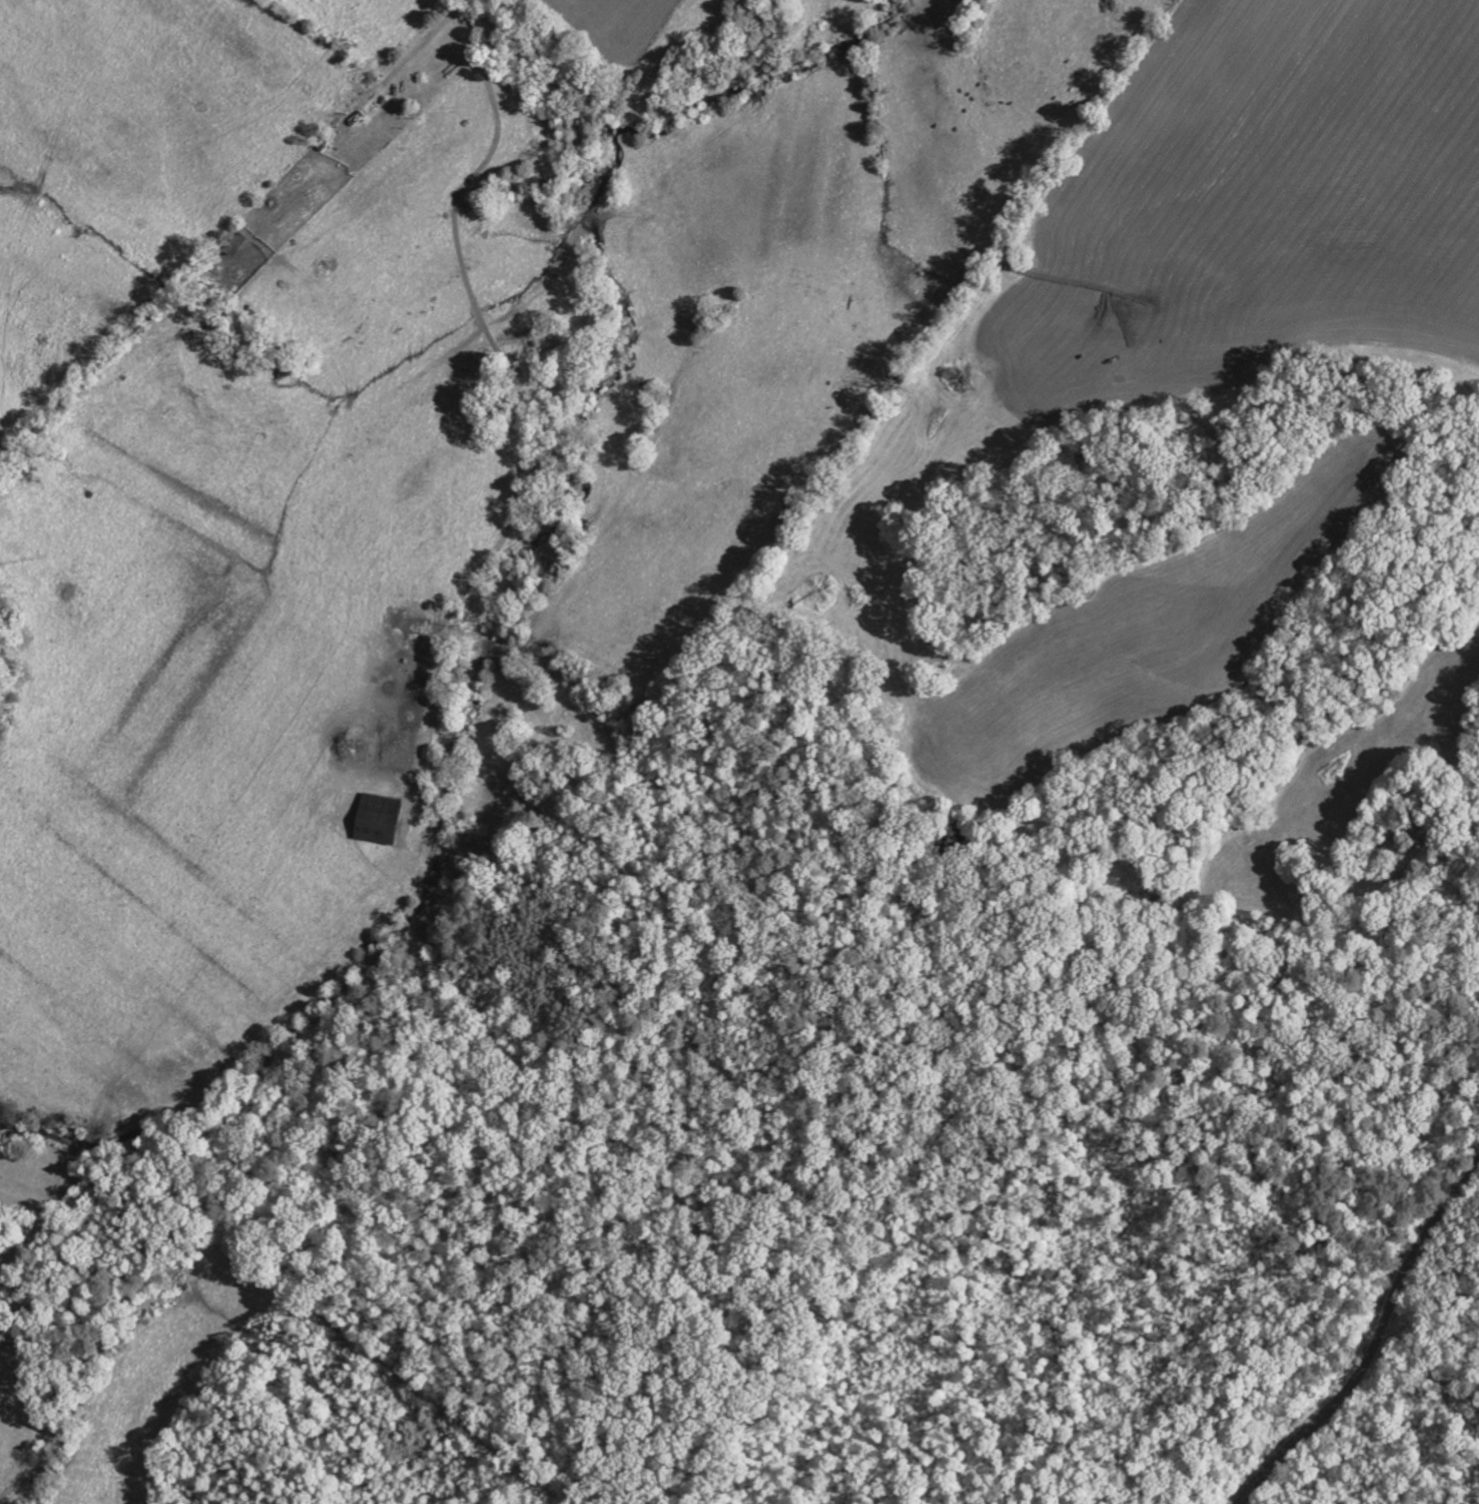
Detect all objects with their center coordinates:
building: (384, 819)
road: (1375, 1345)

